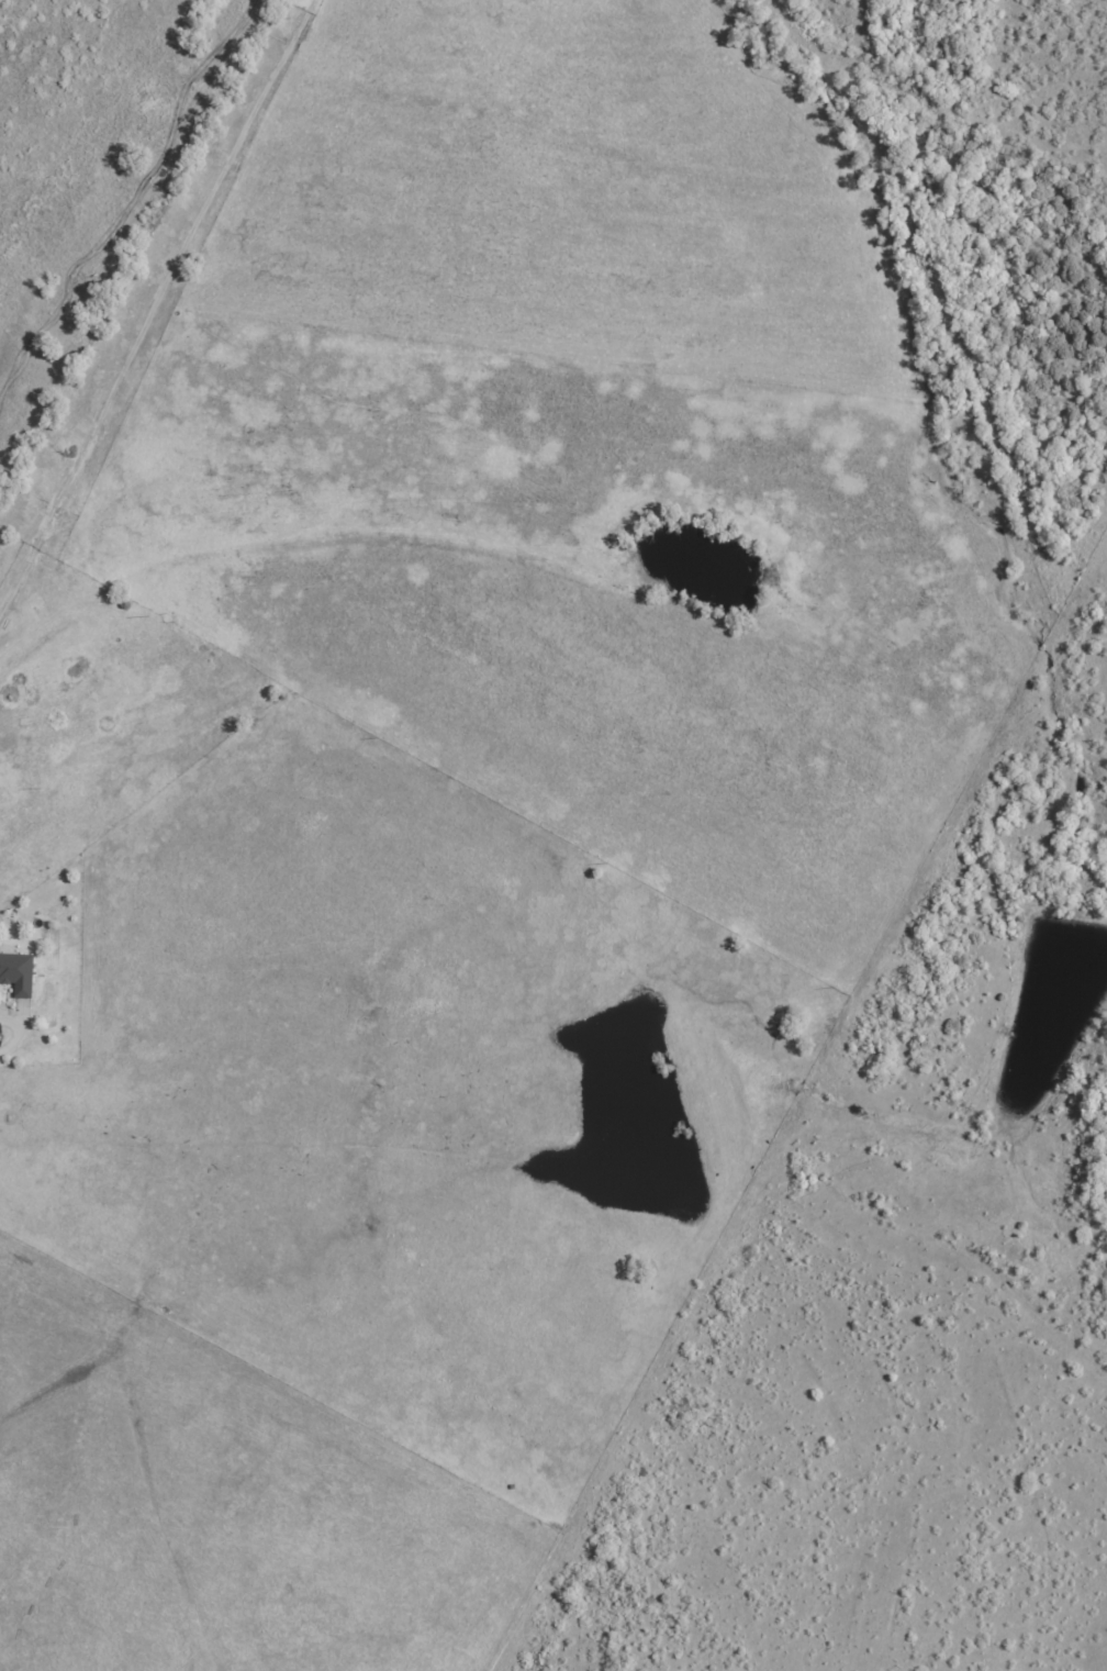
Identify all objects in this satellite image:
building: (18, 972)
road: (18, 1034)

